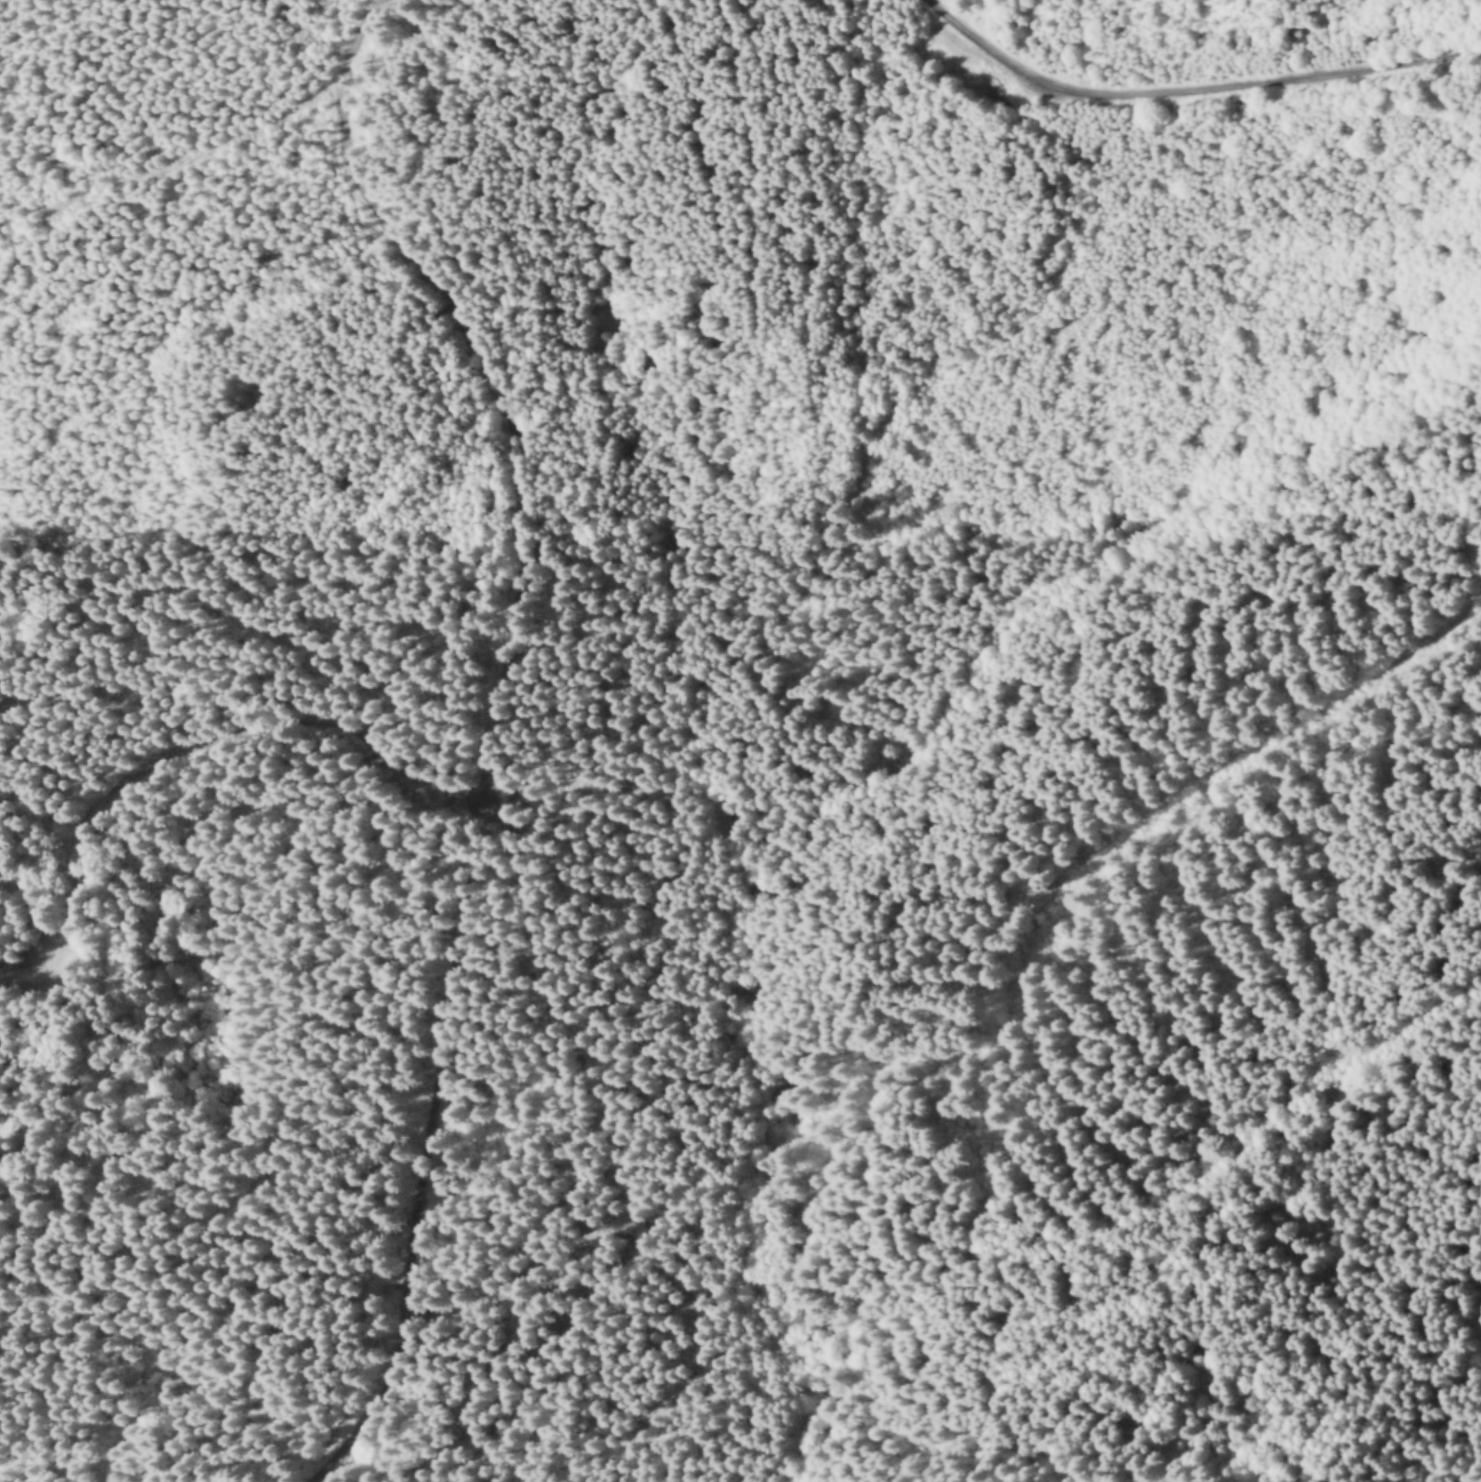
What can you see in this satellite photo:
road: (1209, 97)
road: (467, 730)

